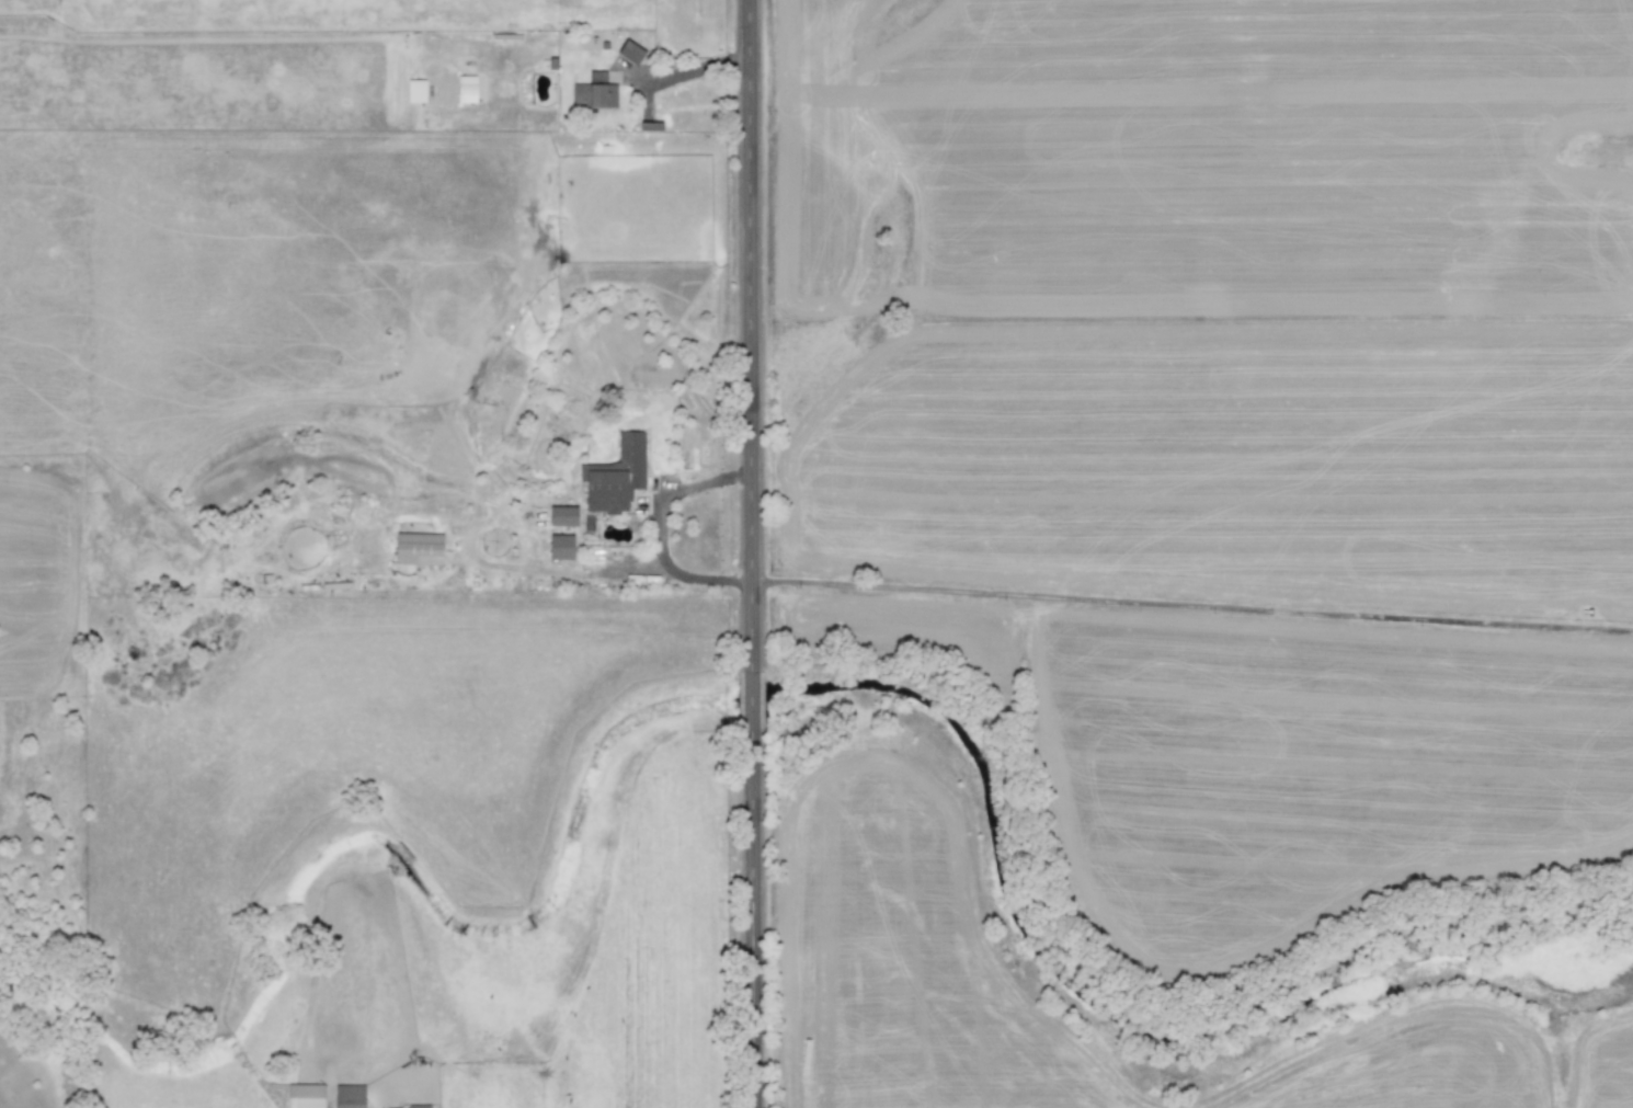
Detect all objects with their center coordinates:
building: (629, 50)
road: (692, 69)
building: (465, 87)
building: (415, 90)
building: (594, 91)
building: (615, 475)
crop: (989, 496)
building: (562, 514)
road: (659, 526)
building: (561, 546)
building: (418, 547)
road: (754, 553)
road: (1192, 603)
building: (305, 1095)
building: (349, 1096)
building: (418, 1106)

